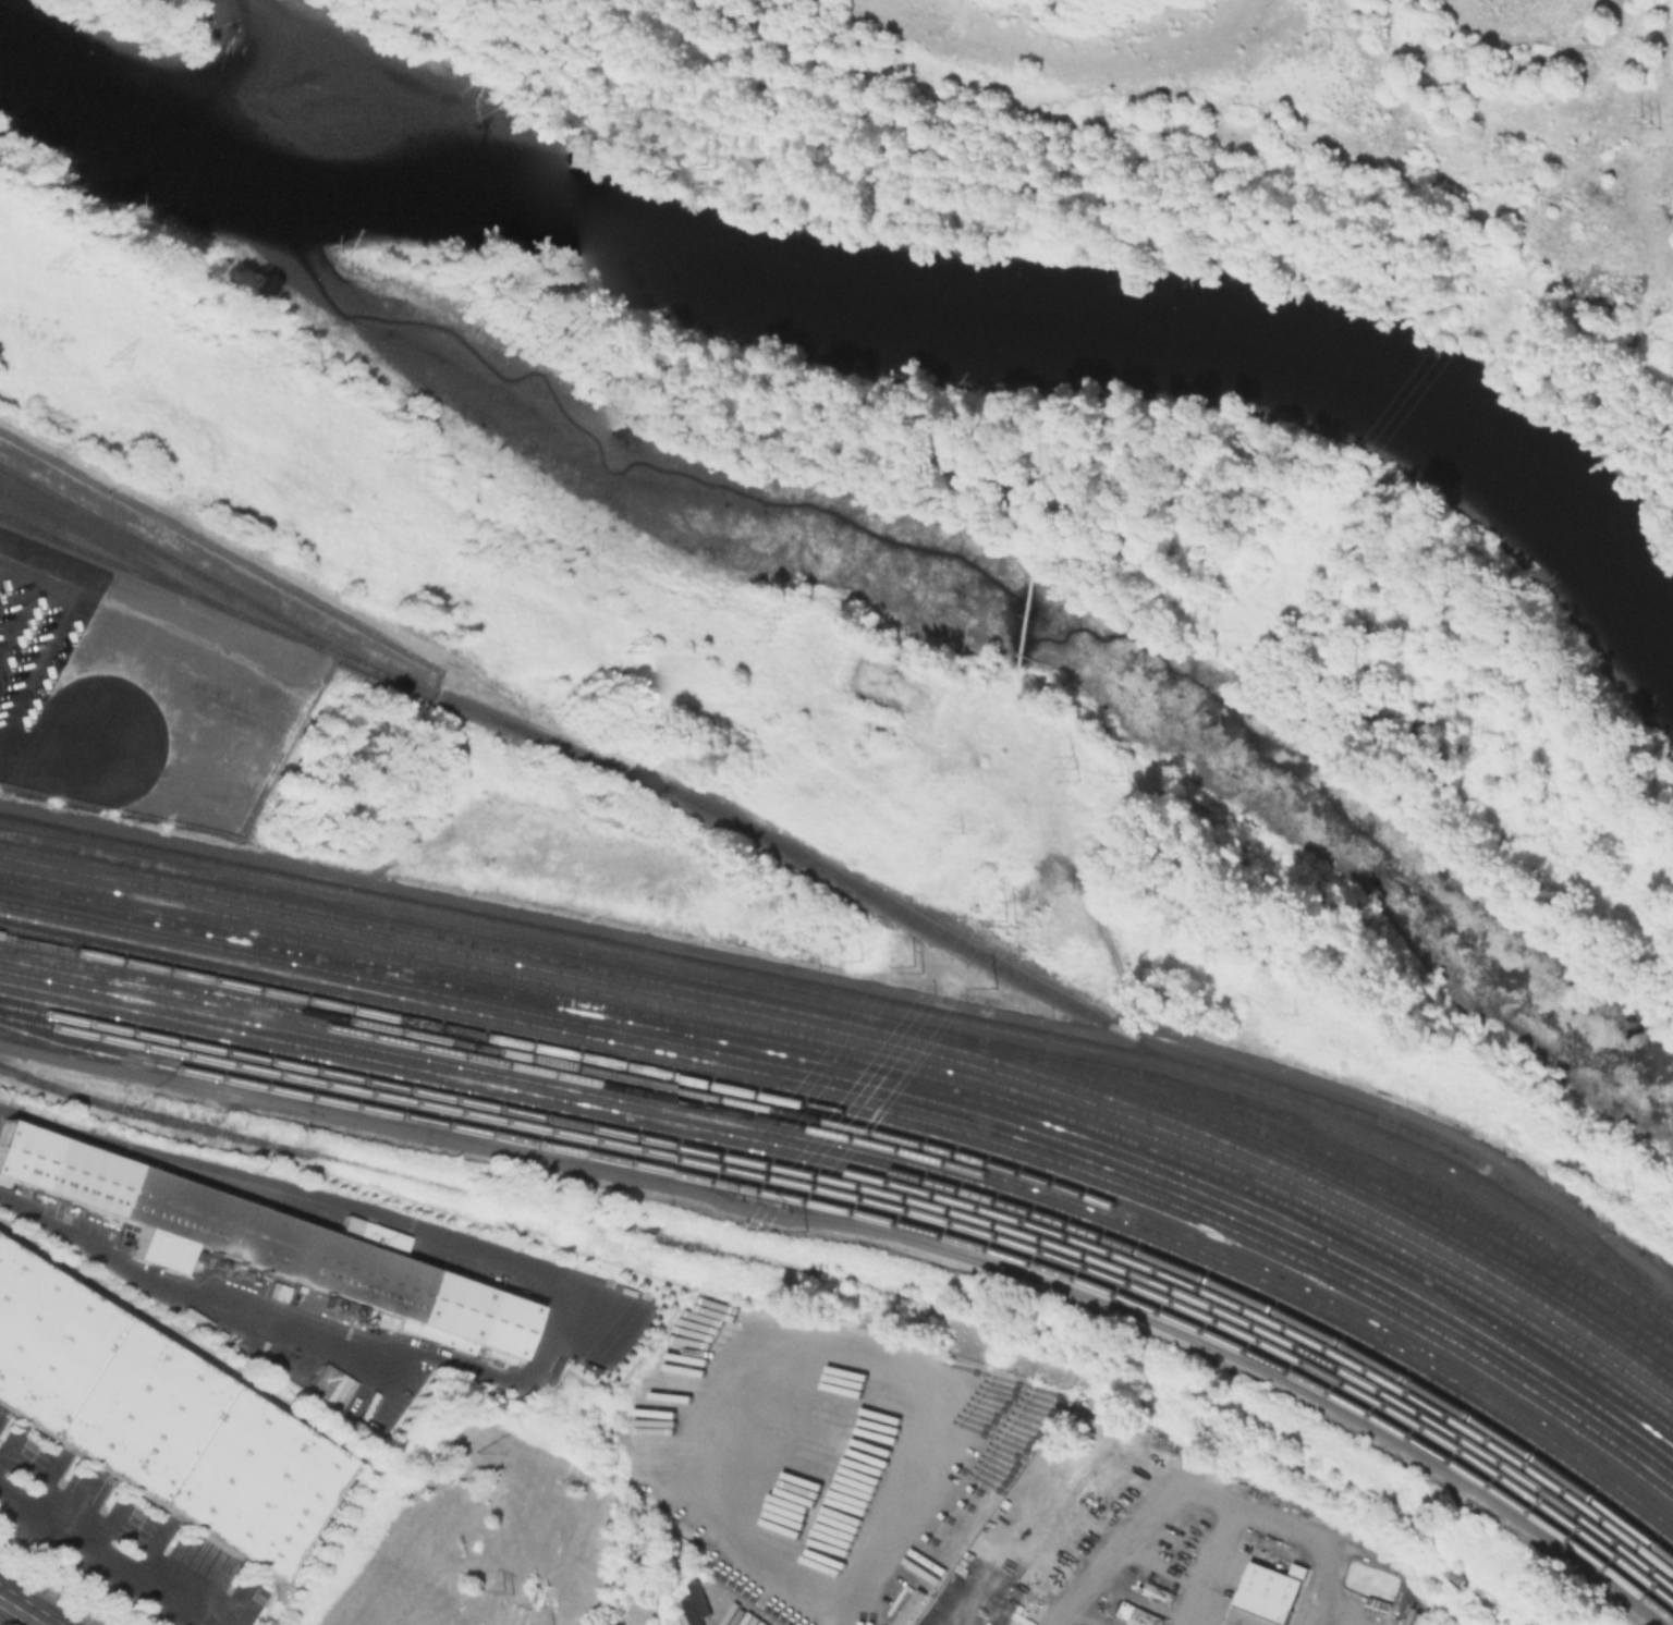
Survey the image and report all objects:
railway: (33, 525)
railway: (115, 549)
road: (5, 553)
railway: (199, 570)
road: (24, 604)
road: (62, 618)
parking lot: (64, 688)
railway: (829, 869)
railway: (859, 997)
railway: (860, 1011)
railway: (868, 1025)
railway: (41, 1036)
railway: (869, 1037)
railway: (869, 1050)
railway: (869, 1062)
railway: (870, 1072)
railway: (871, 1084)
railway: (871, 1096)
railway: (871, 1108)
railway: (872, 1120)
railway: (874, 1131)
railway: (874, 1141)
railway: (875, 1154)
railway: (84, 1158)
railway: (875, 1166)
railway: (876, 1176)
railway: (426, 1180)
railway: (1341, 1180)
railway: (876, 1189)
railway: (1384, 1189)
railway: (1427, 1197)
railway: (877, 1199)
railway: (1462, 1202)
railway: (877, 1215)
building: (262, 1239)
road: (555, 1315)
building: (329, 1384)
railway: (1208, 1415)
building: (159, 1424)
road: (1262, 1519)
railway: (1380, 1535)
road: (108, 1553)
building: (1266, 1595)
road: (514, 1605)
building: (1375, 1605)
road: (20, 1612)
building: (913, 1613)
building: (1136, 1614)

